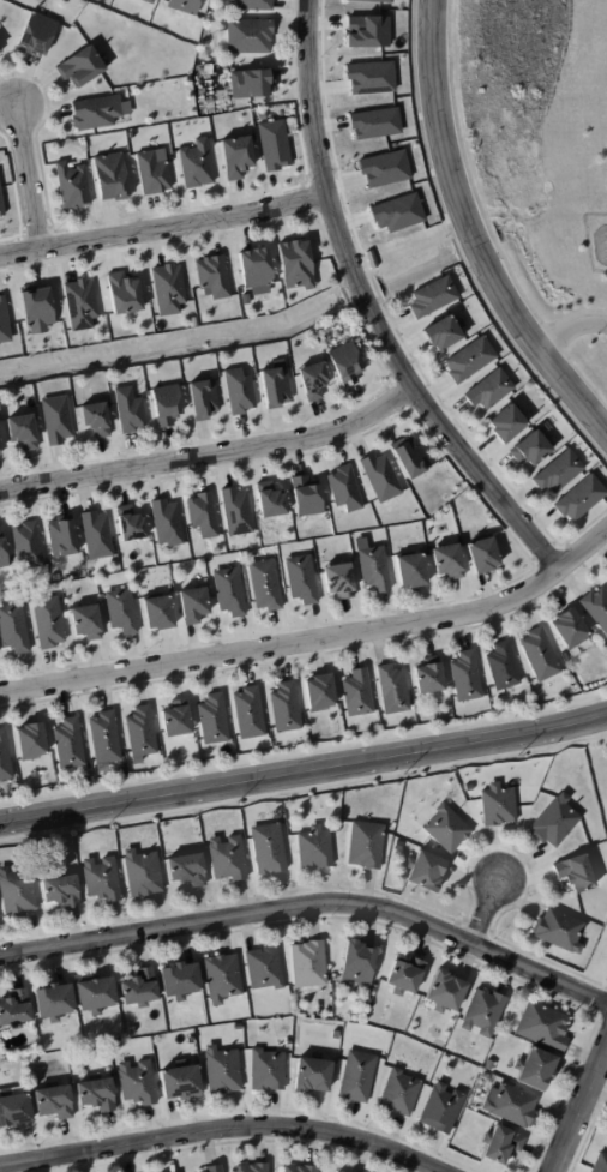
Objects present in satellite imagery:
building: (383, 0)
building: (150, 1)
building: (185, 5)
building: (254, 5)
building: (367, 31)
building: (34, 32)
building: (250, 36)
building: (0, 50)
building: (80, 67)
building: (368, 77)
building: (248, 83)
building: (96, 112)
building: (374, 122)
building: (272, 144)
building: (236, 157)
building: (197, 164)
building: (383, 168)
building: (154, 172)
road: (30, 176)
building: (112, 176)
building: (73, 186)
building: (1, 205)
building: (397, 211)
road: (164, 230)
road: (473, 236)
building: (372, 260)
building: (298, 264)
building: (257, 268)
building: (214, 276)
building: (169, 289)
building: (124, 294)
building: (434, 297)
building: (82, 305)
building: (37, 307)
road: (368, 312)
building: (2, 321)
road: (570, 330)
building: (446, 332)
building: (471, 360)
building: (344, 362)
building: (311, 379)
building: (275, 387)
building: (491, 390)
building: (240, 391)
building: (203, 399)
building: (167, 405)
building: (130, 410)
building: (56, 420)
building: (97, 420)
building: (509, 423)
building: (23, 432)
building: (533, 449)
building: (0, 451)
road: (211, 453)
building: (410, 458)
building: (560, 471)
building: (381, 477)
building: (345, 489)
building: (307, 497)
building: (581, 499)
building: (270, 501)
building: (200, 512)
building: (238, 512)
building: (167, 523)
building: (131, 524)
building: (425, 524)
building: (60, 536)
building: (97, 536)
building: (24, 543)
building: (2, 554)
building: (483, 555)
building: (449, 563)
building: (375, 570)
building: (411, 570)
building: (302, 579)
building: (339, 582)
building: (266, 585)
building: (230, 593)
building: (194, 607)
building: (596, 608)
building: (121, 612)
building: (160, 614)
building: (48, 623)
building: (88, 623)
building: (13, 629)
building: (570, 630)
road: (314, 641)
building: (541, 655)
building: (504, 667)
building: (429, 677)
building: (467, 678)
building: (393, 691)
building: (320, 693)
building: (359, 695)
building: (286, 708)
building: (250, 714)
building: (178, 720)
building: (214, 720)
building: (142, 733)
building: (106, 741)
building: (31, 743)
building: (70, 745)
building: (5, 758)
road: (303, 767)
park: (599, 770)
building: (499, 806)
building: (554, 822)
building: (449, 829)
building: (366, 846)
building: (398, 847)
building: (315, 849)
building: (269, 851)
building: (227, 860)
building: (188, 869)
building: (425, 872)
building: (577, 873)
building: (143, 875)
building: (102, 880)
building: (61, 890)
building: (17, 895)
road: (311, 907)
road: (486, 910)
building: (560, 932)
park: (600, 957)
building: (359, 962)
building: (309, 963)
building: (265, 968)
building: (407, 976)
building: (222, 978)
building: (181, 979)
building: (140, 987)
building: (447, 992)
building: (96, 993)
building: (367, 999)
building: (52, 1000)
building: (14, 1008)
building: (486, 1012)
building: (545, 1026)
building: (337, 1034)
building: (289, 1041)
building: (489, 1065)
building: (223, 1069)
building: (536, 1069)
building: (268, 1070)
building: (474, 1071)
building: (314, 1074)
building: (359, 1076)
building: (485, 1076)
building: (138, 1082)
building: (181, 1082)
building: (97, 1093)
building: (401, 1093)
building: (54, 1100)
building: (512, 1105)
road: (577, 1107)
building: (443, 1108)
building: (14, 1110)
road: (220, 1131)
building: (503, 1146)
building: (601, 1164)
building: (253, 1167)
building: (215, 1168)
building: (301, 1168)
building: (342, 1171)

